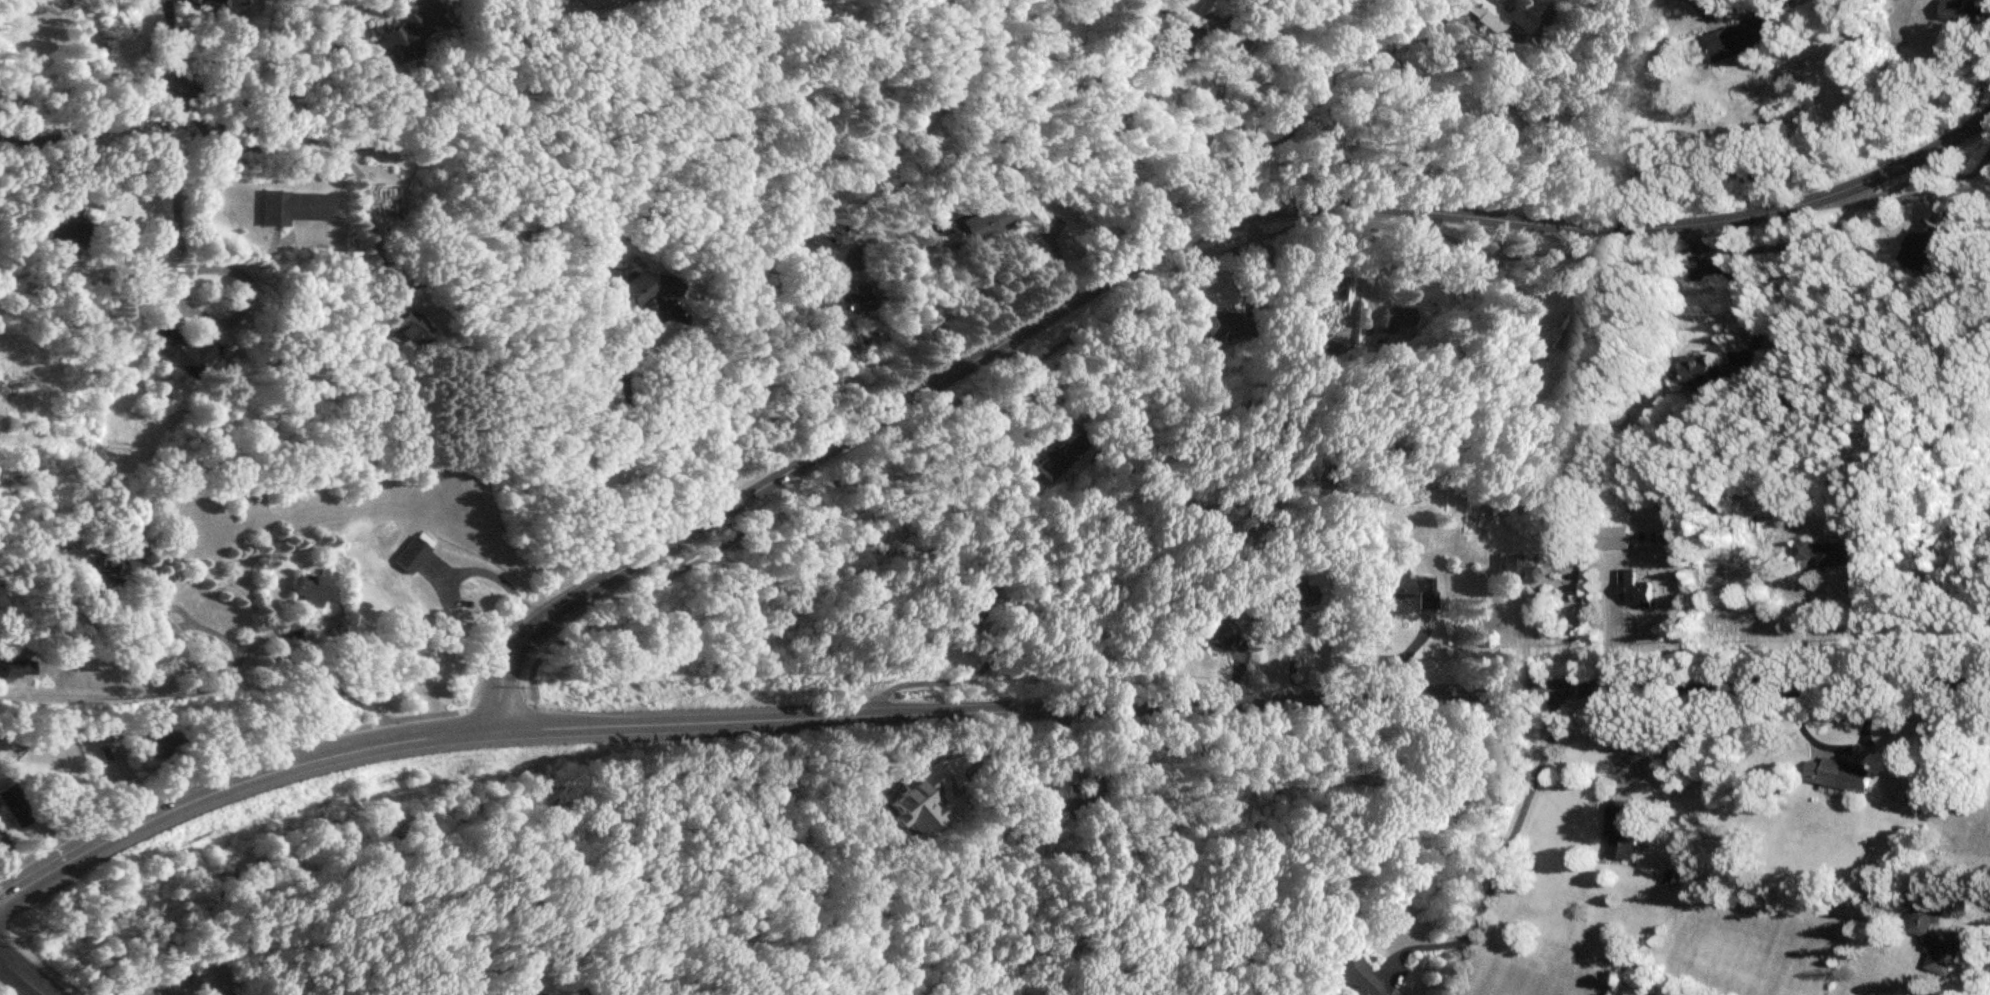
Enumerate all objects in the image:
road: (432, 1)
building: (224, 3)
building: (1962, 10)
building: (1498, 15)
building: (1208, 21)
building: (1736, 38)
building: (397, 39)
building: (1177, 40)
road: (171, 43)
road: (288, 89)
road: (1514, 94)
road: (1253, 103)
road: (1987, 121)
road: (90, 129)
road: (1204, 143)
road: (313, 148)
road: (1291, 172)
building: (1043, 188)
building: (293, 206)
road: (812, 212)
building: (985, 221)
road: (1255, 222)
building: (65, 232)
building: (817, 243)
building: (1917, 243)
road: (1228, 244)
road: (1169, 246)
road: (1055, 252)
road: (1633, 259)
road: (923, 275)
road: (1740, 285)
building: (1331, 286)
building: (640, 289)
building: (846, 300)
building: (1395, 319)
building: (407, 320)
building: (1227, 324)
building: (1566, 332)
road: (614, 333)
building: (184, 350)
building: (1696, 370)
road: (1029, 385)
road: (644, 419)
building: (215, 437)
building: (1058, 455)
road: (1637, 547)
building: (421, 551)
building: (1823, 553)
building: (123, 568)
building: (1516, 569)
building: (1412, 585)
building: (319, 588)
building: (1296, 590)
building: (1632, 590)
building: (971, 601)
road: (613, 607)
building: (442, 625)
building: (1219, 631)
road: (1801, 631)
road: (235, 644)
road: (322, 662)
building: (19, 668)
road: (936, 678)
road: (60, 693)
road: (1241, 701)
road: (1604, 737)
building: (1839, 775)
road: (234, 781)
building: (1071, 797)
building: (913, 800)
building: (1621, 831)
road: (1505, 844)
road: (1261, 849)
building: (1919, 921)
building: (1940, 957)
building: (1352, 968)
road: (22, 976)
building: (536, 993)

